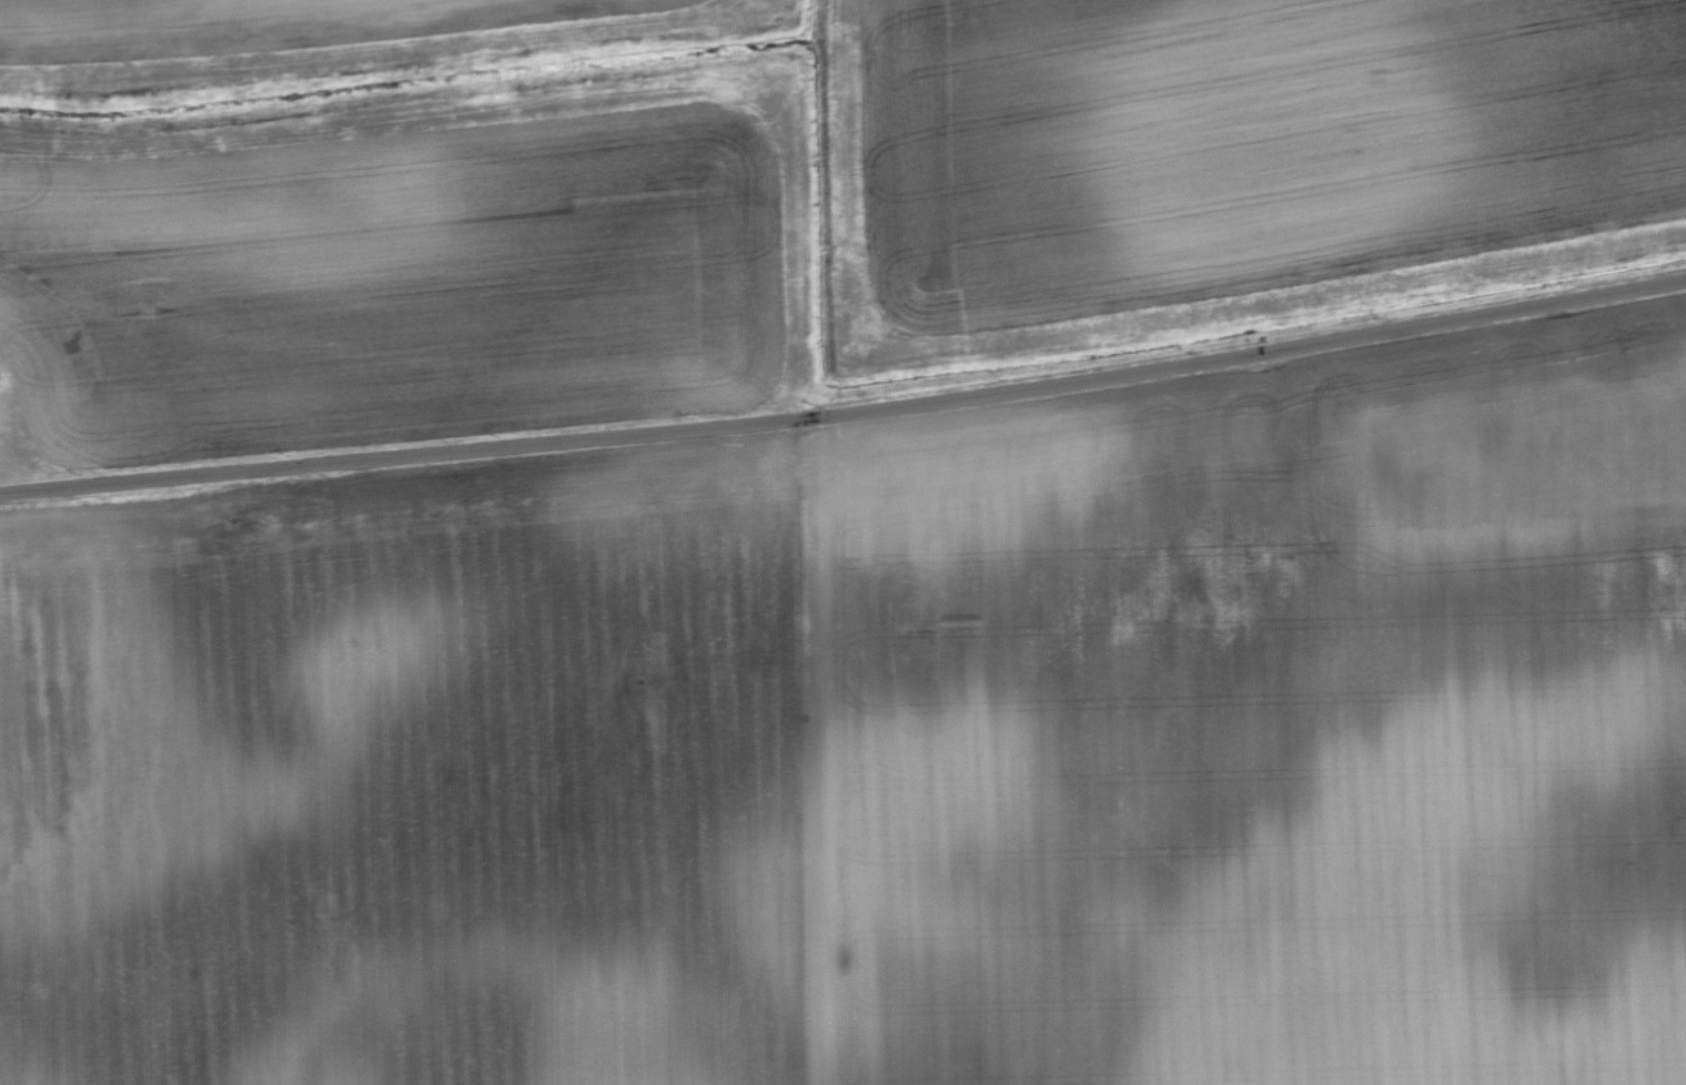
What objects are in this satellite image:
road: (846, 412)

